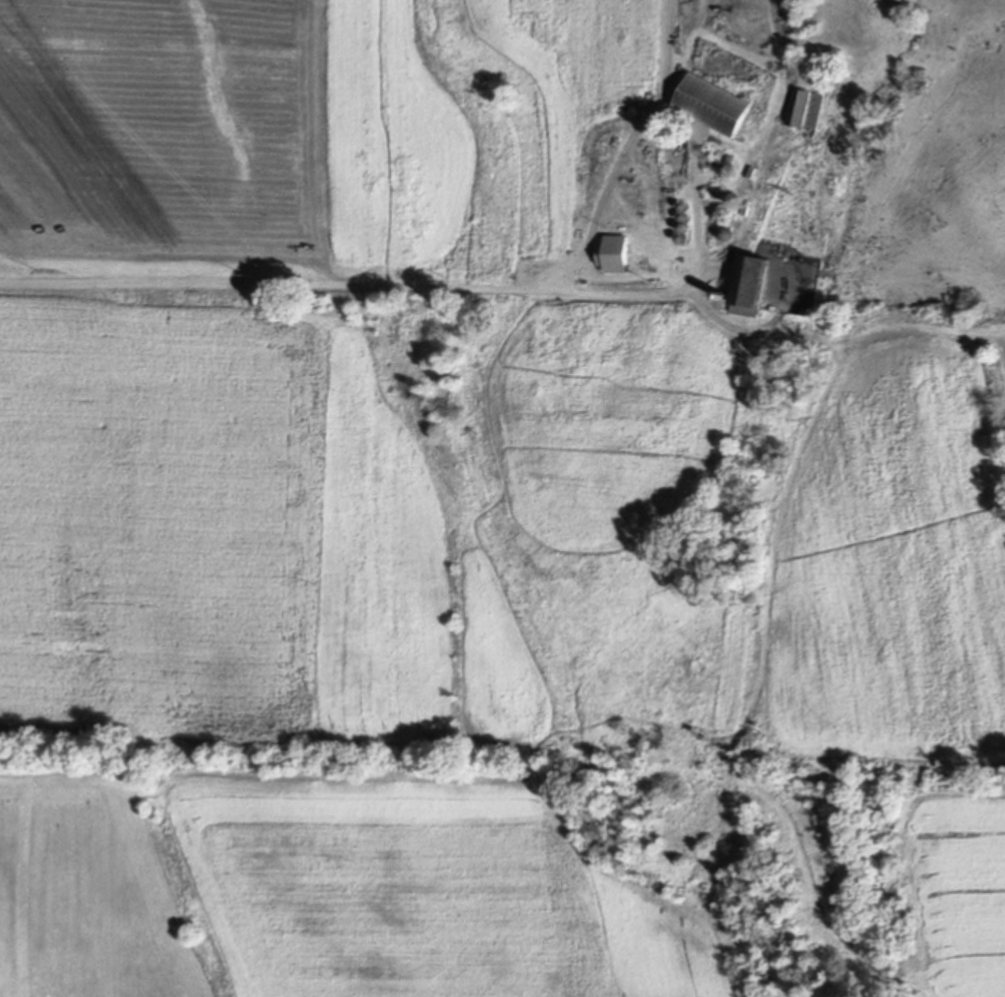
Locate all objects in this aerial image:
building: (714, 106)
building: (807, 110)
building: (750, 287)
road: (500, 290)

